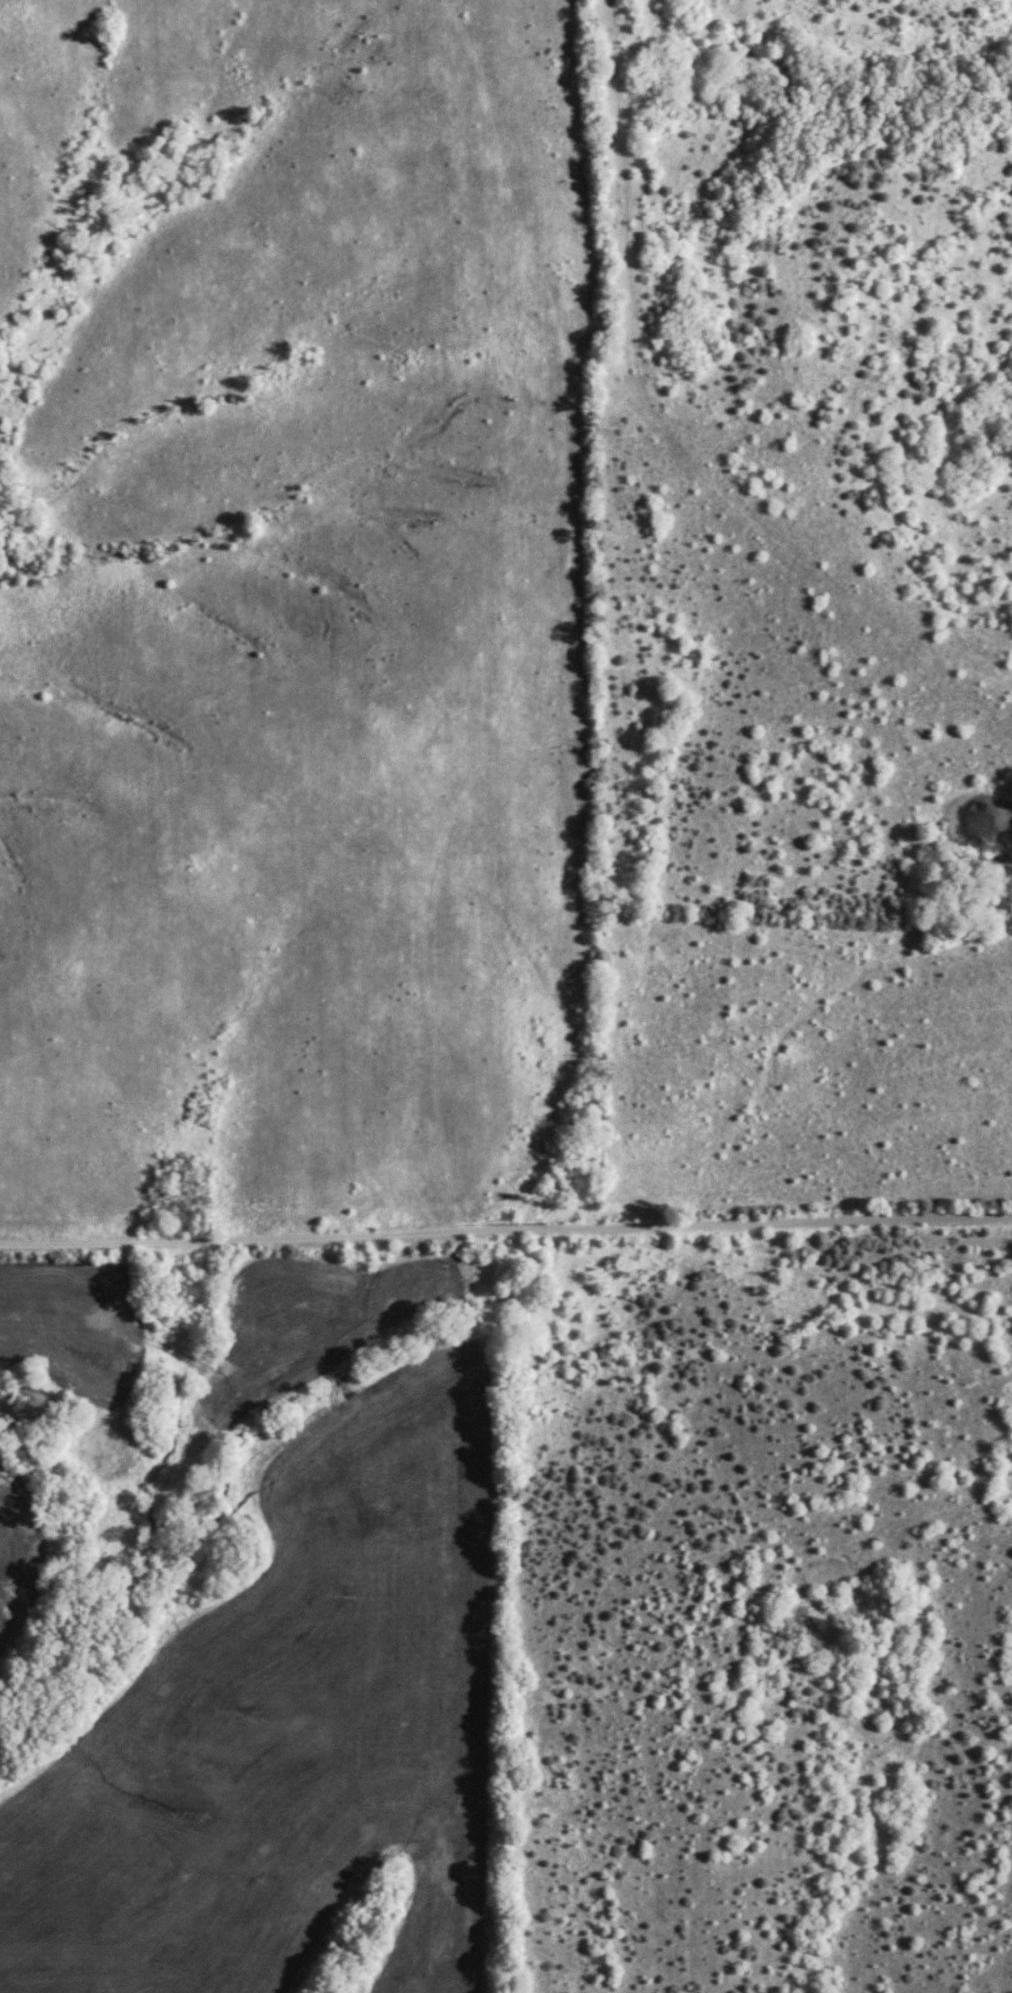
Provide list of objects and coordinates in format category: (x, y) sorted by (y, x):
road: (505, 1227)

